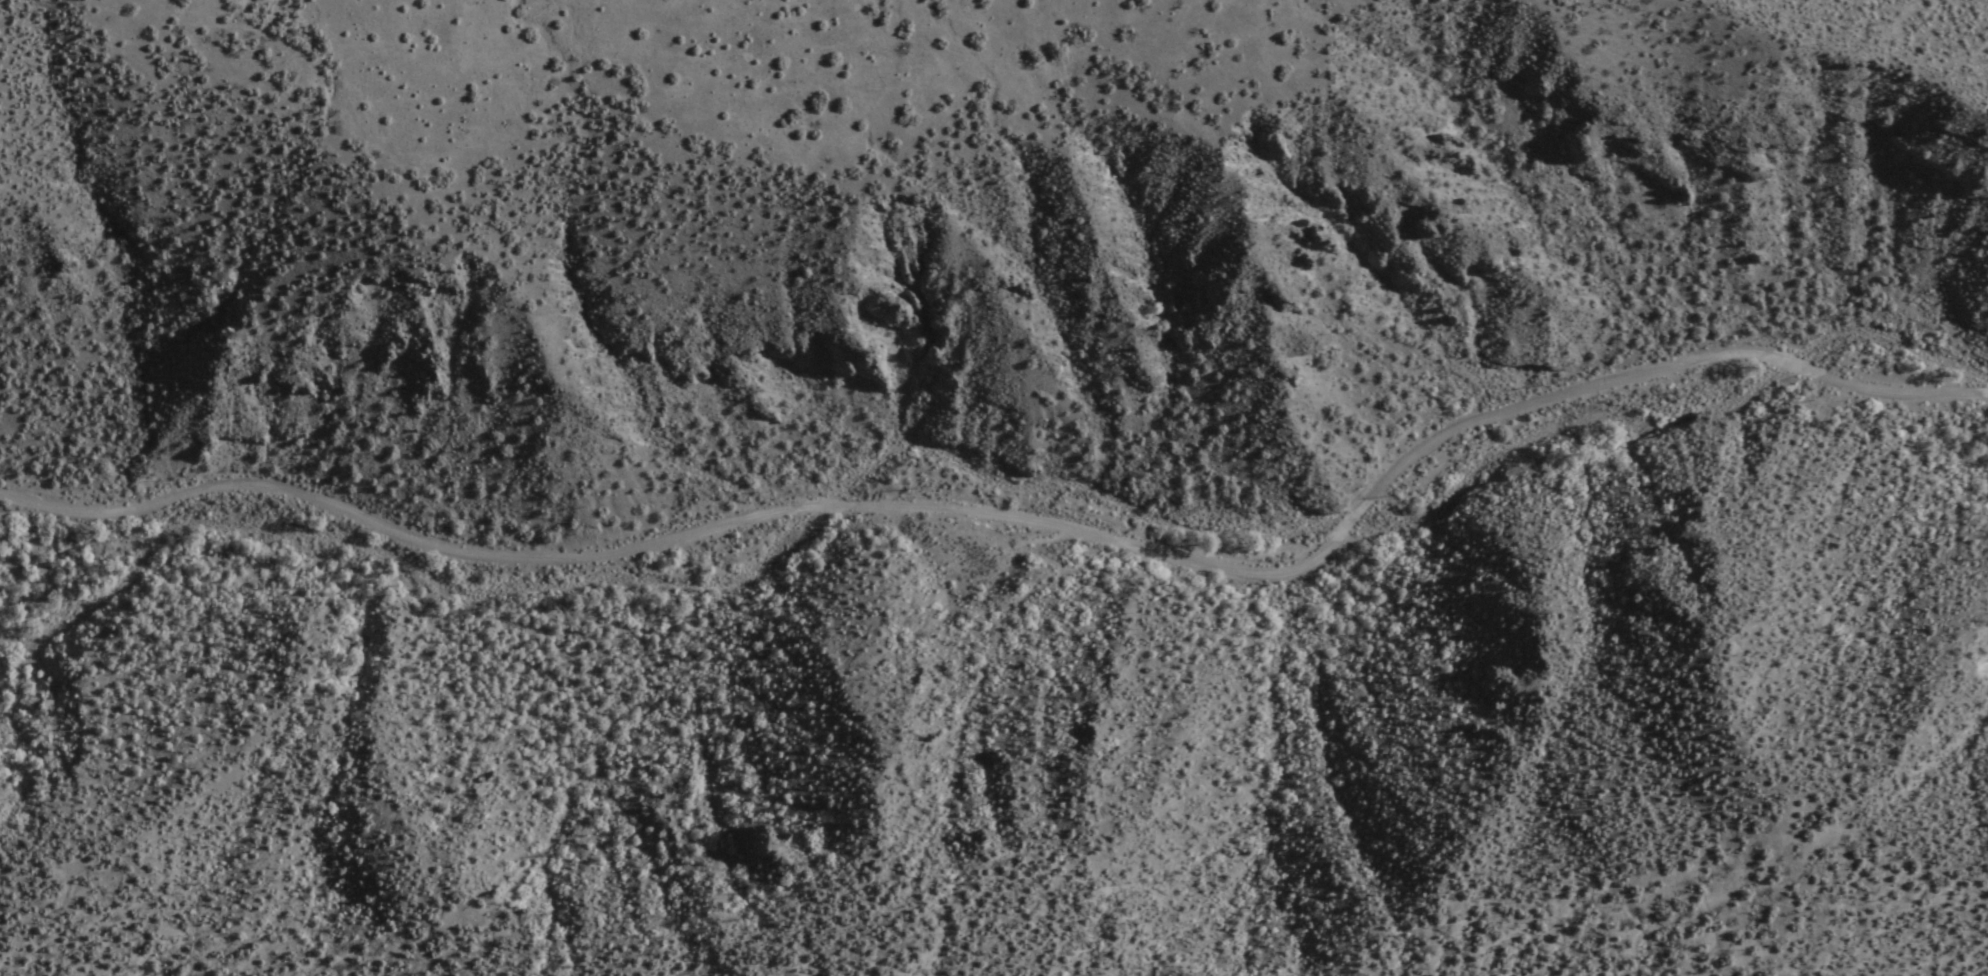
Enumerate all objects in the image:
road: (1523, 10)
road: (1020, 515)

